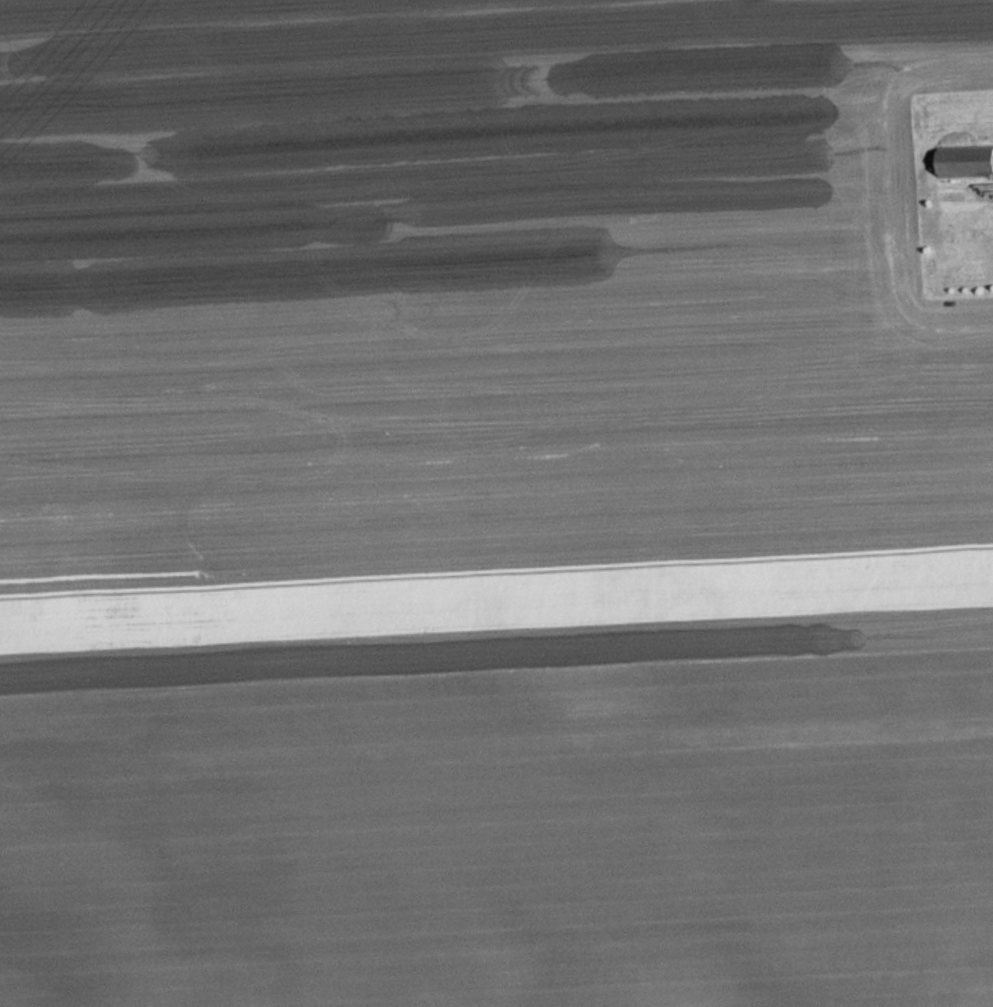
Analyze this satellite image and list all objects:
building: (966, 162)

